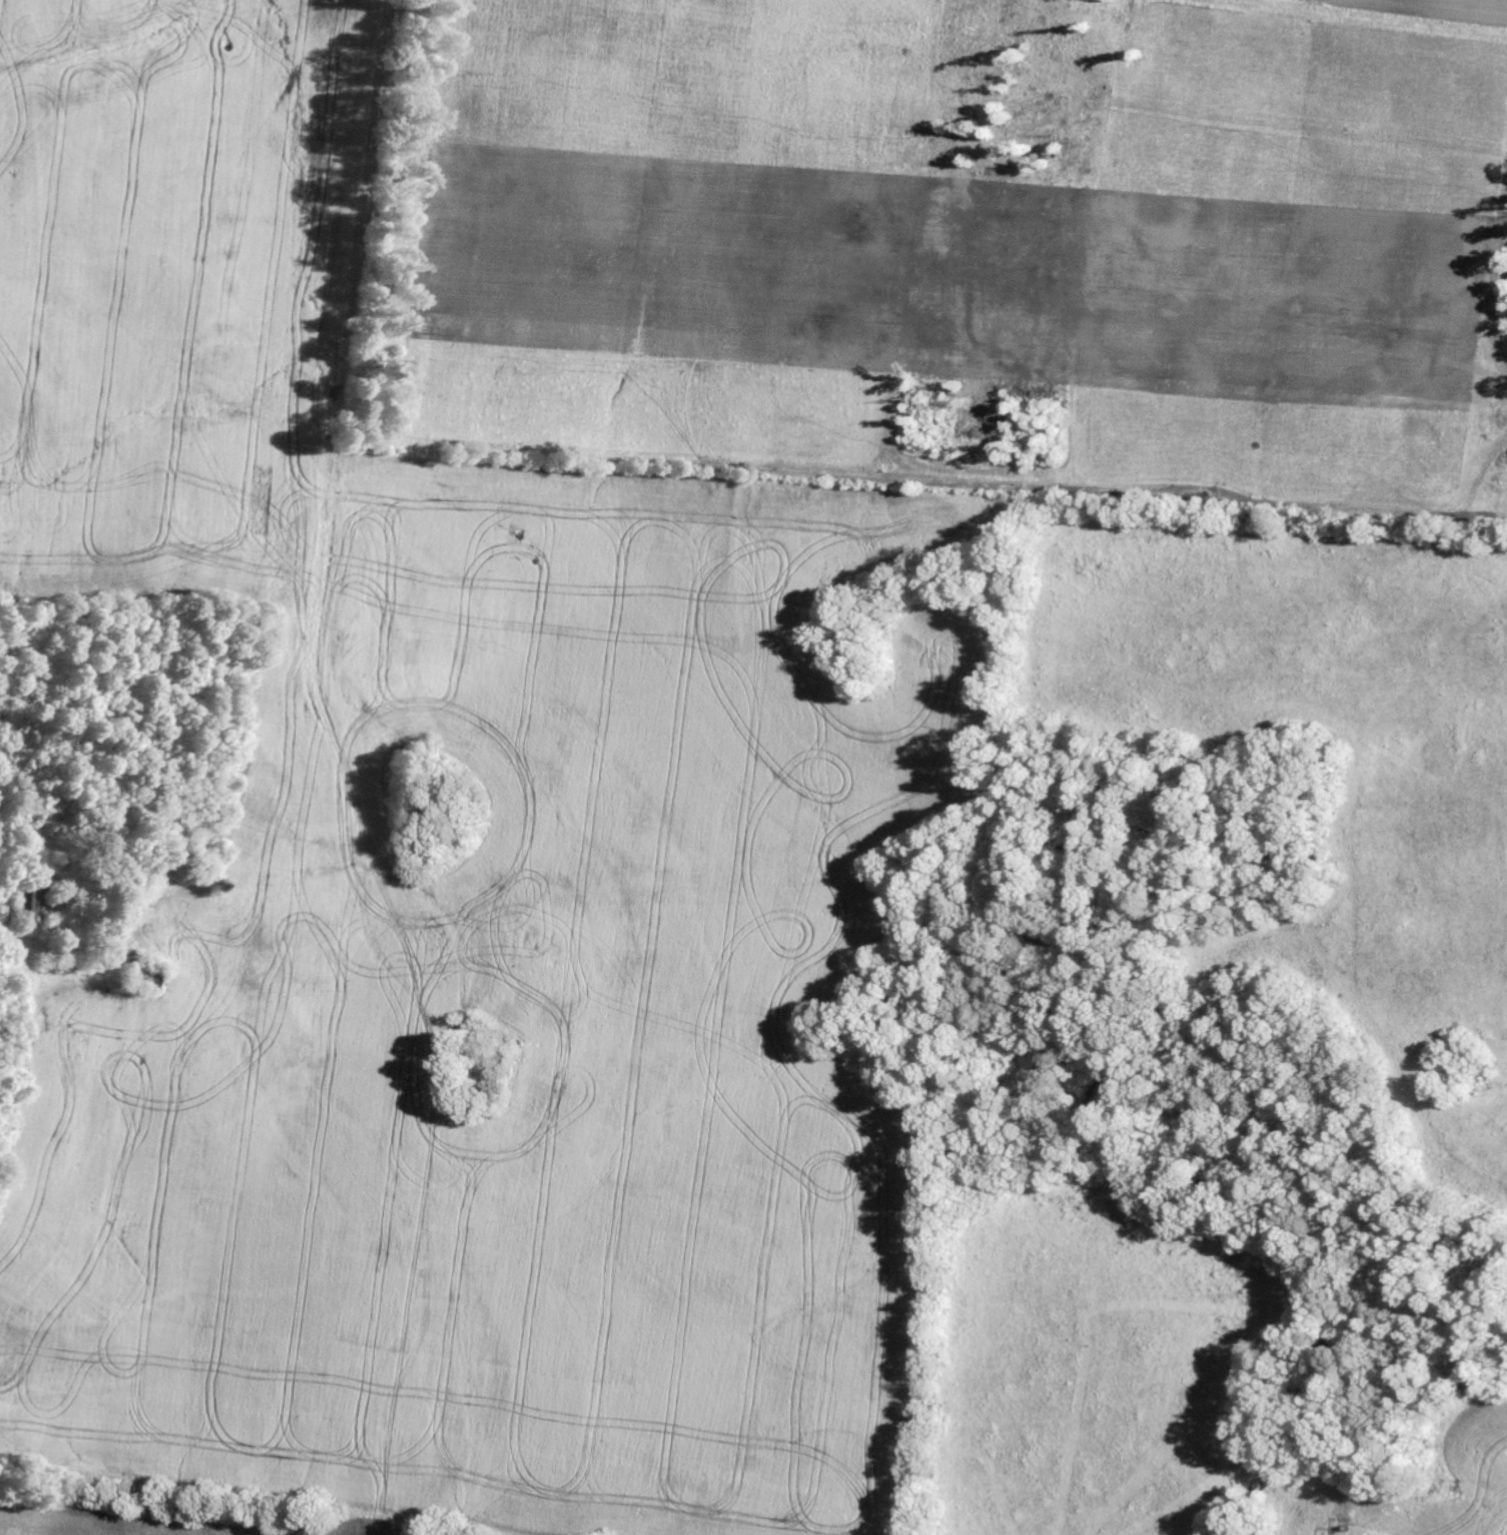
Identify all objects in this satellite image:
road: (934, 437)
road: (484, 809)
road: (507, 1161)

